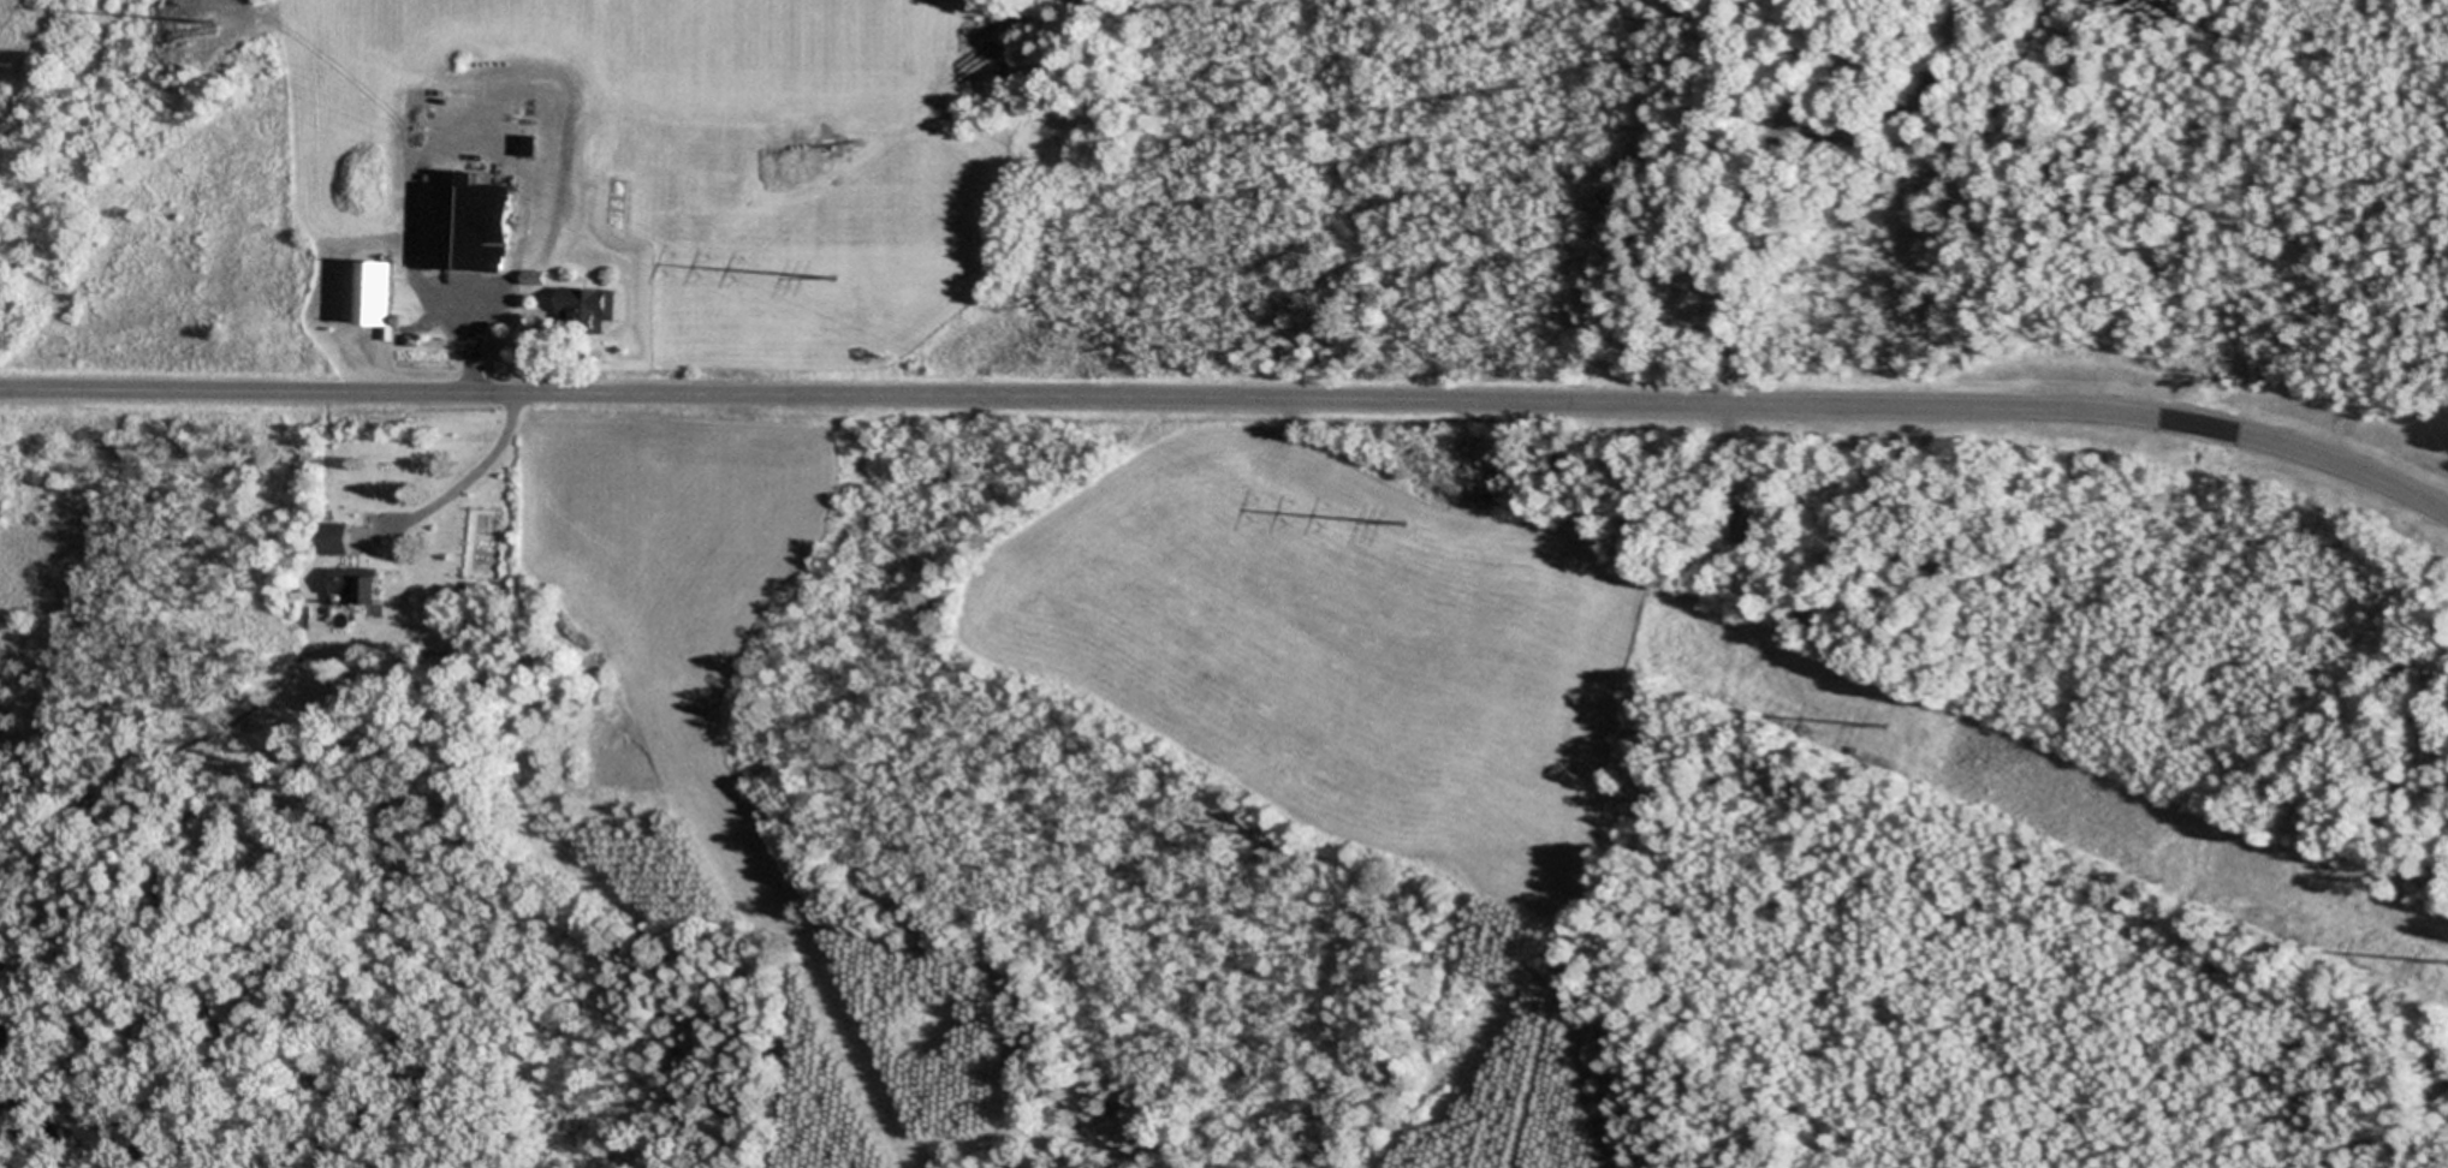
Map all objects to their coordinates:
power tower: (219, 18)
building: (467, 221)
power tower: (833, 275)
building: (381, 292)
building: (589, 305)
road: (471, 345)
road: (1232, 399)
road: (470, 473)
power tower: (1404, 522)
building: (338, 538)
building: (357, 585)
power tower: (1884, 725)

